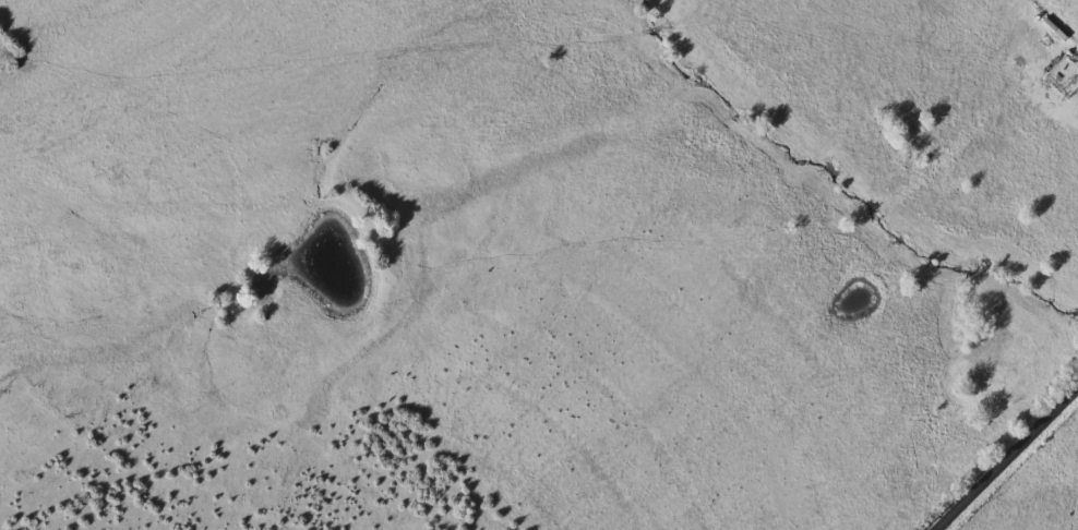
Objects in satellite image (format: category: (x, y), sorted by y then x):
road: (1006, 456)

